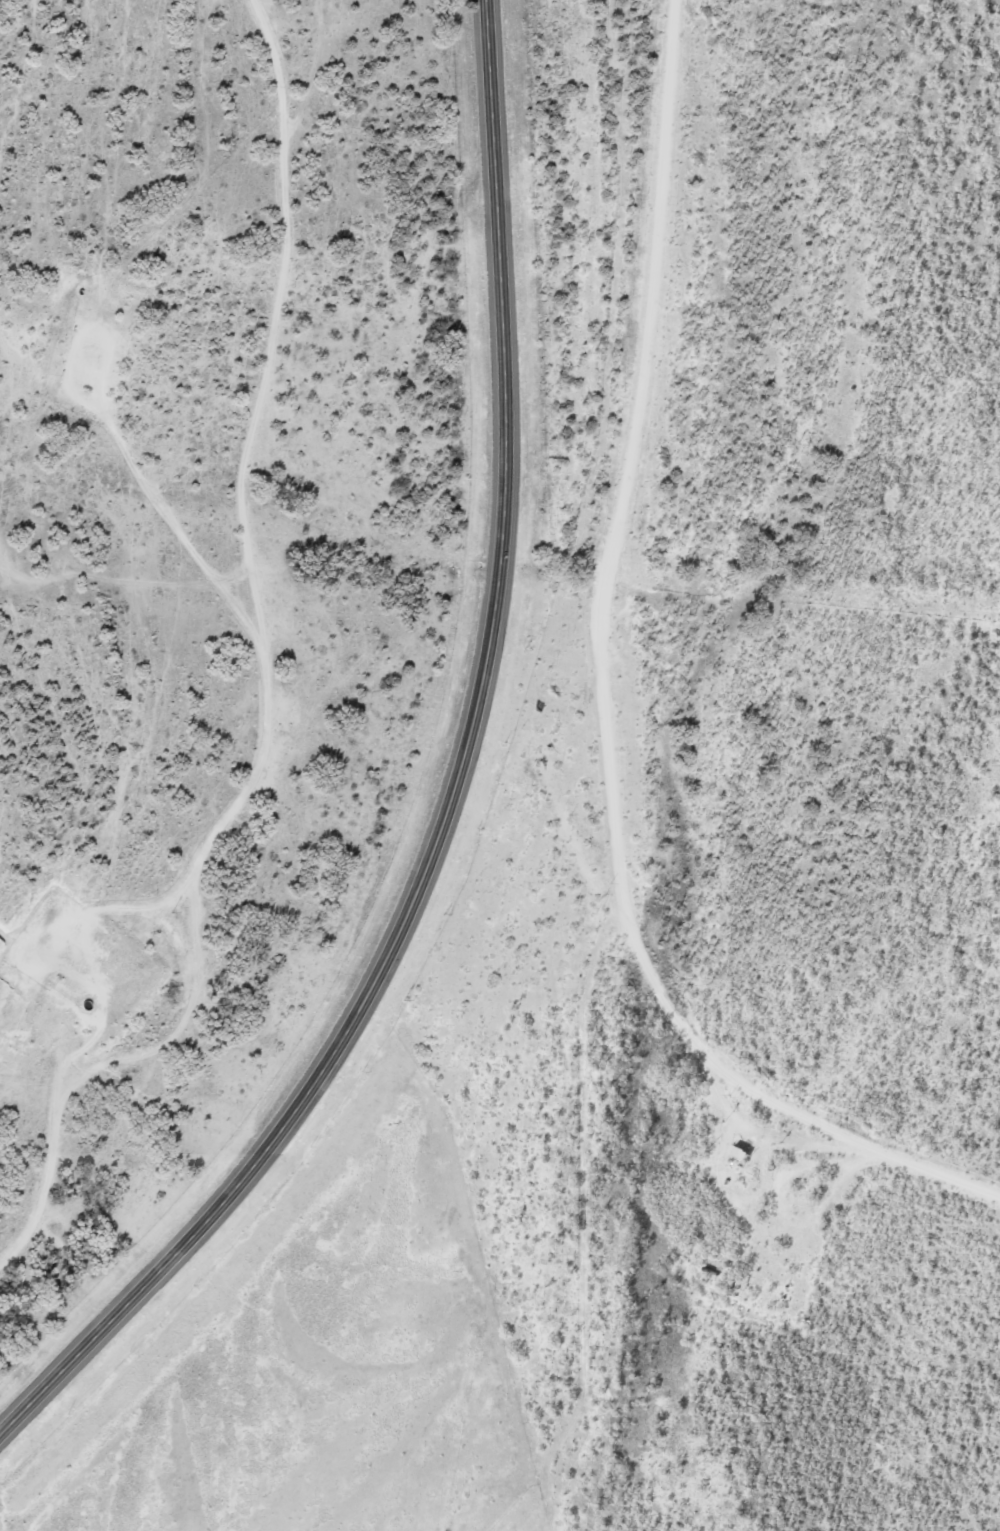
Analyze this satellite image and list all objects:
road: (452, 790)
road: (95, 1127)
building: (741, 1152)

